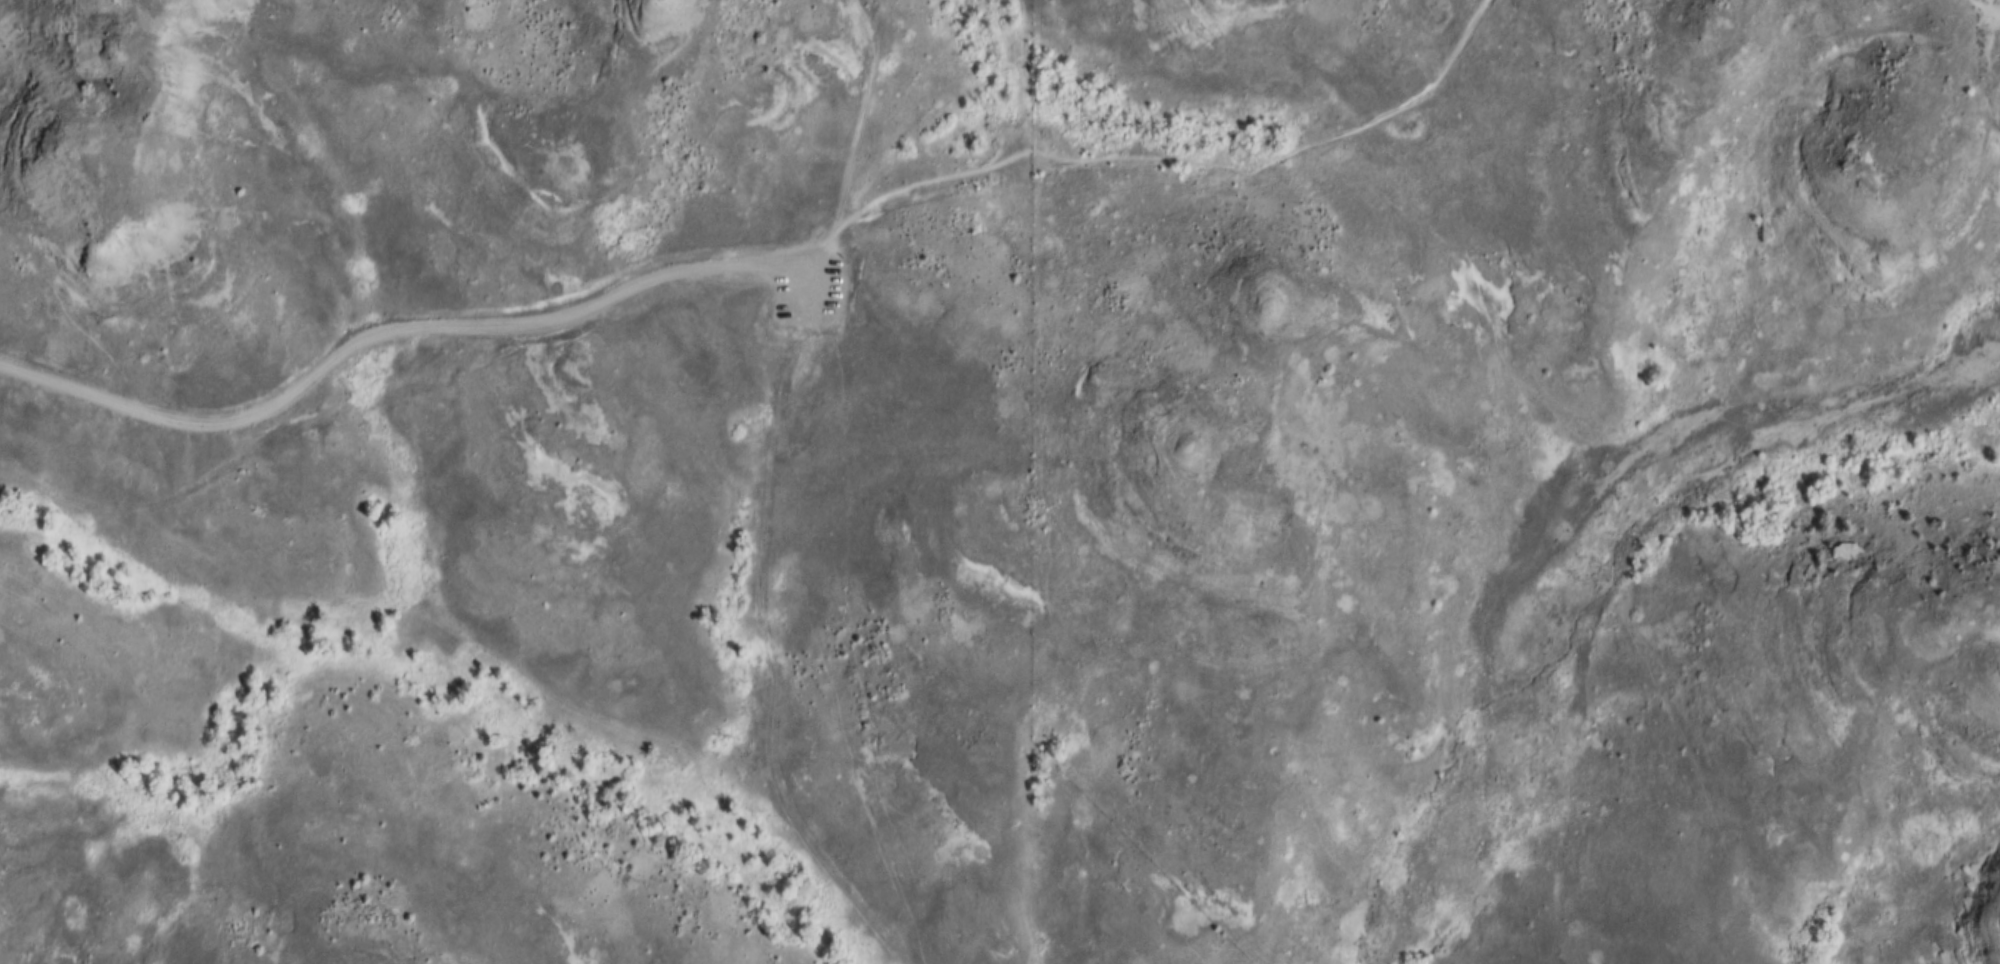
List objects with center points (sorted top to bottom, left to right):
road: (1987, 7)
road: (854, 131)
road: (1183, 156)
parking lot: (808, 283)
road: (428, 325)
road: (772, 659)

